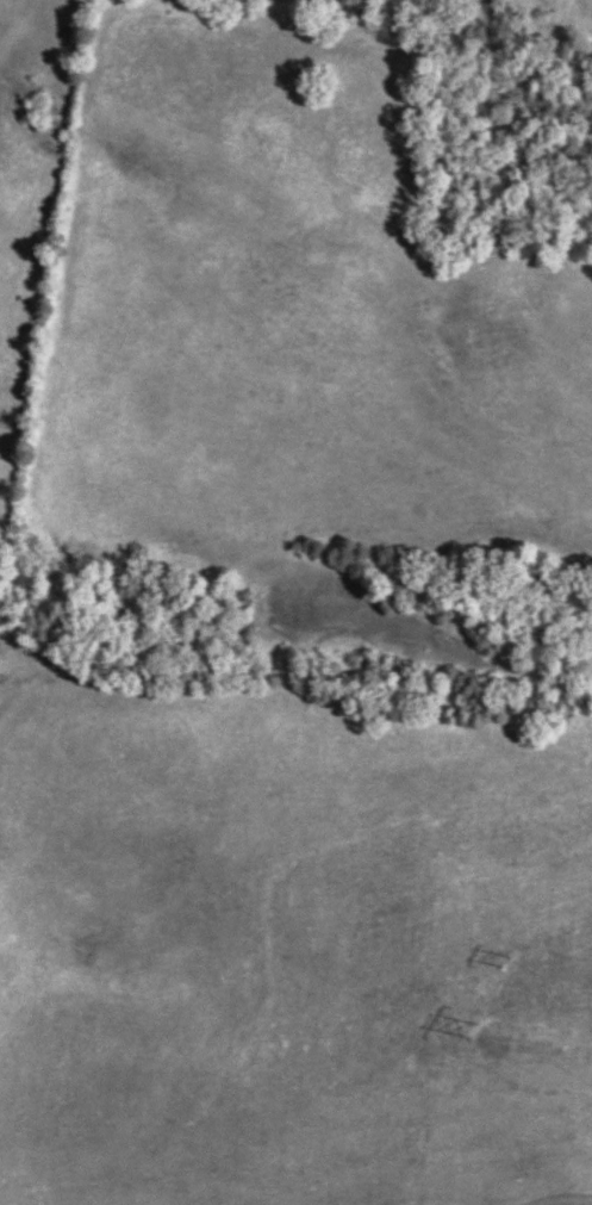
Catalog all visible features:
power tower: (474, 1027)

